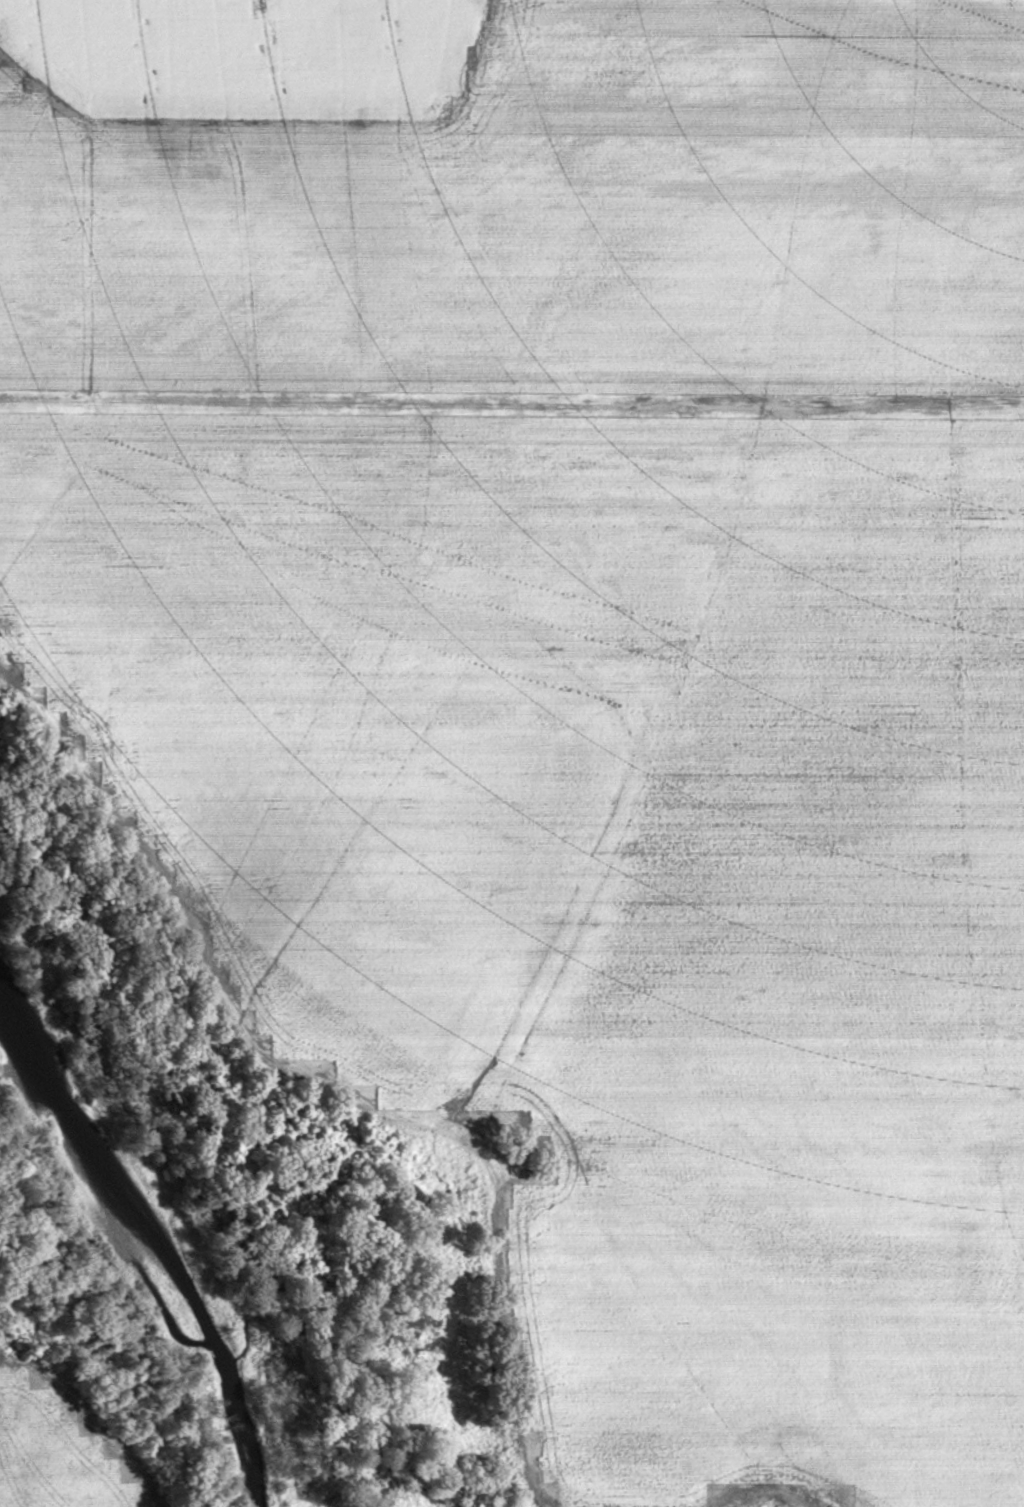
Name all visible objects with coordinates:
road: (230, 155)
road: (577, 409)
river: (151, 1254)
road: (42, 1418)

